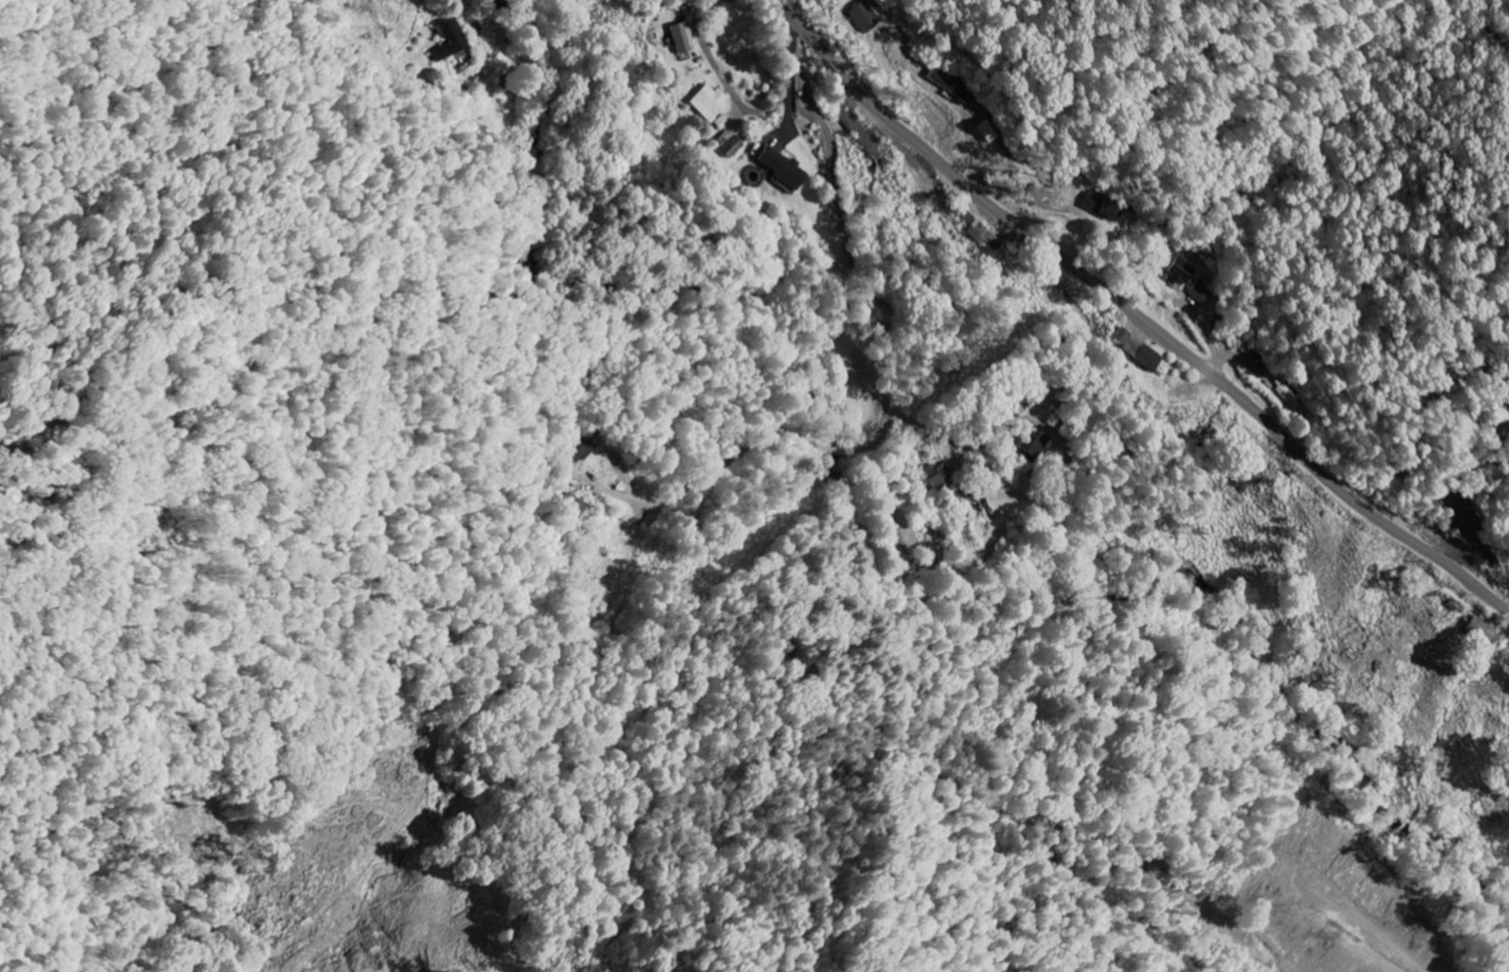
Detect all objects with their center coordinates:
building: (862, 17)
building: (679, 37)
building: (446, 41)
building: (948, 86)
road: (746, 106)
building: (710, 107)
building: (727, 144)
building: (778, 168)
building: (1100, 207)
road: (849, 251)
building: (1178, 272)
building: (1199, 293)
road: (1136, 312)
building: (1134, 350)
road: (872, 389)
road: (762, 434)
building: (1031, 444)
building: (579, 451)
building: (939, 477)
building: (573, 506)
building: (1479, 629)

